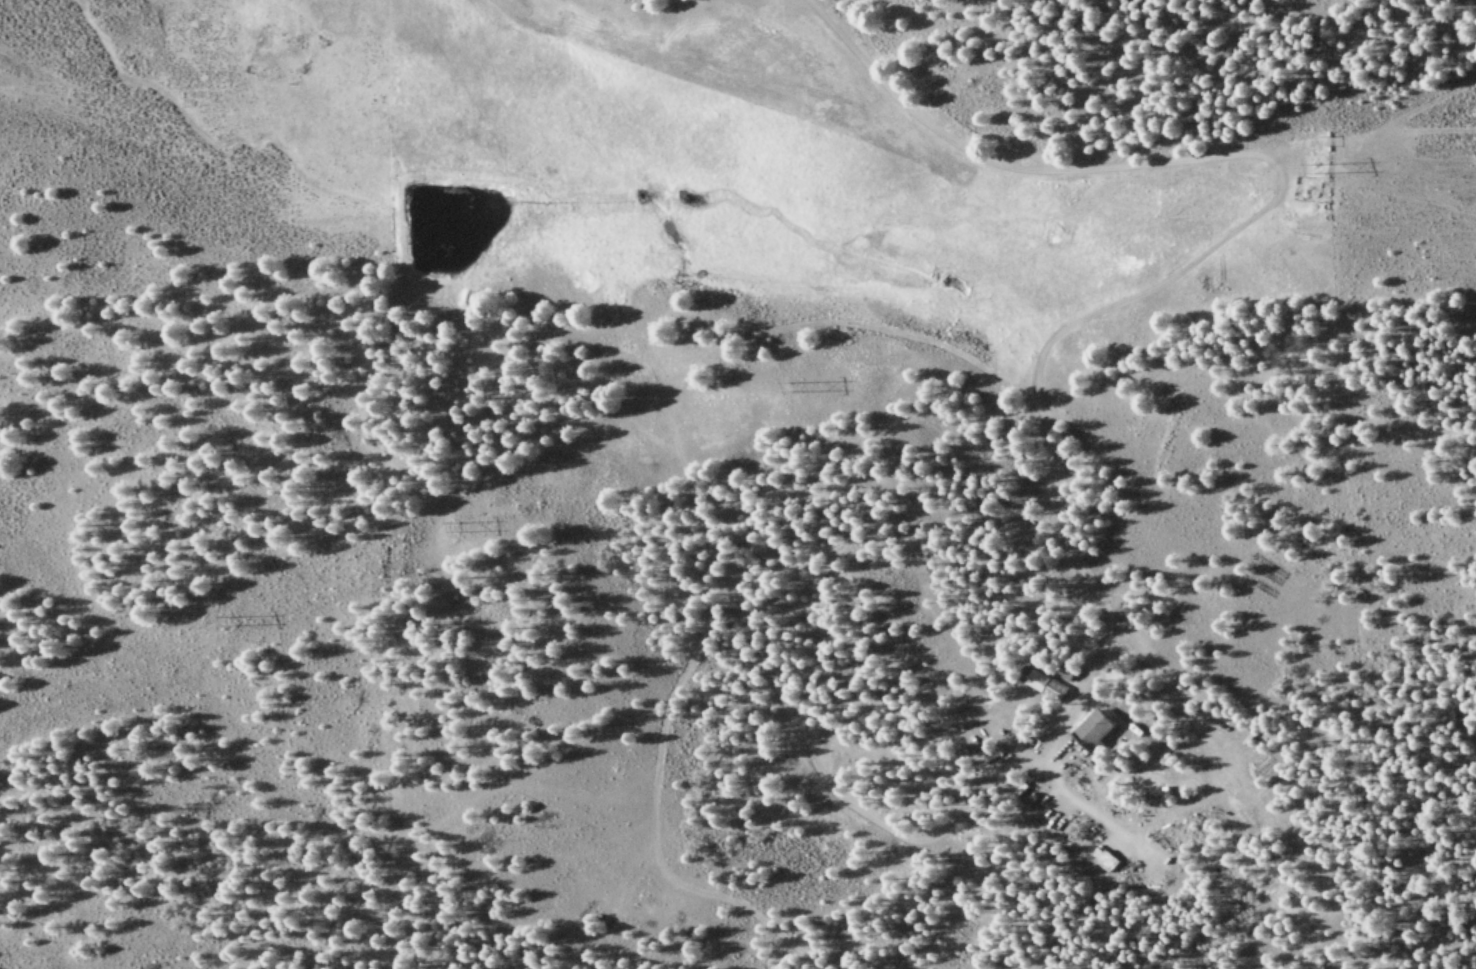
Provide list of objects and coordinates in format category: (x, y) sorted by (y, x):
road: (857, 103)
power tower: (1309, 171)
power tower: (795, 394)
power tower: (454, 532)
power tower: (225, 625)
building: (1044, 686)
building: (1096, 733)

